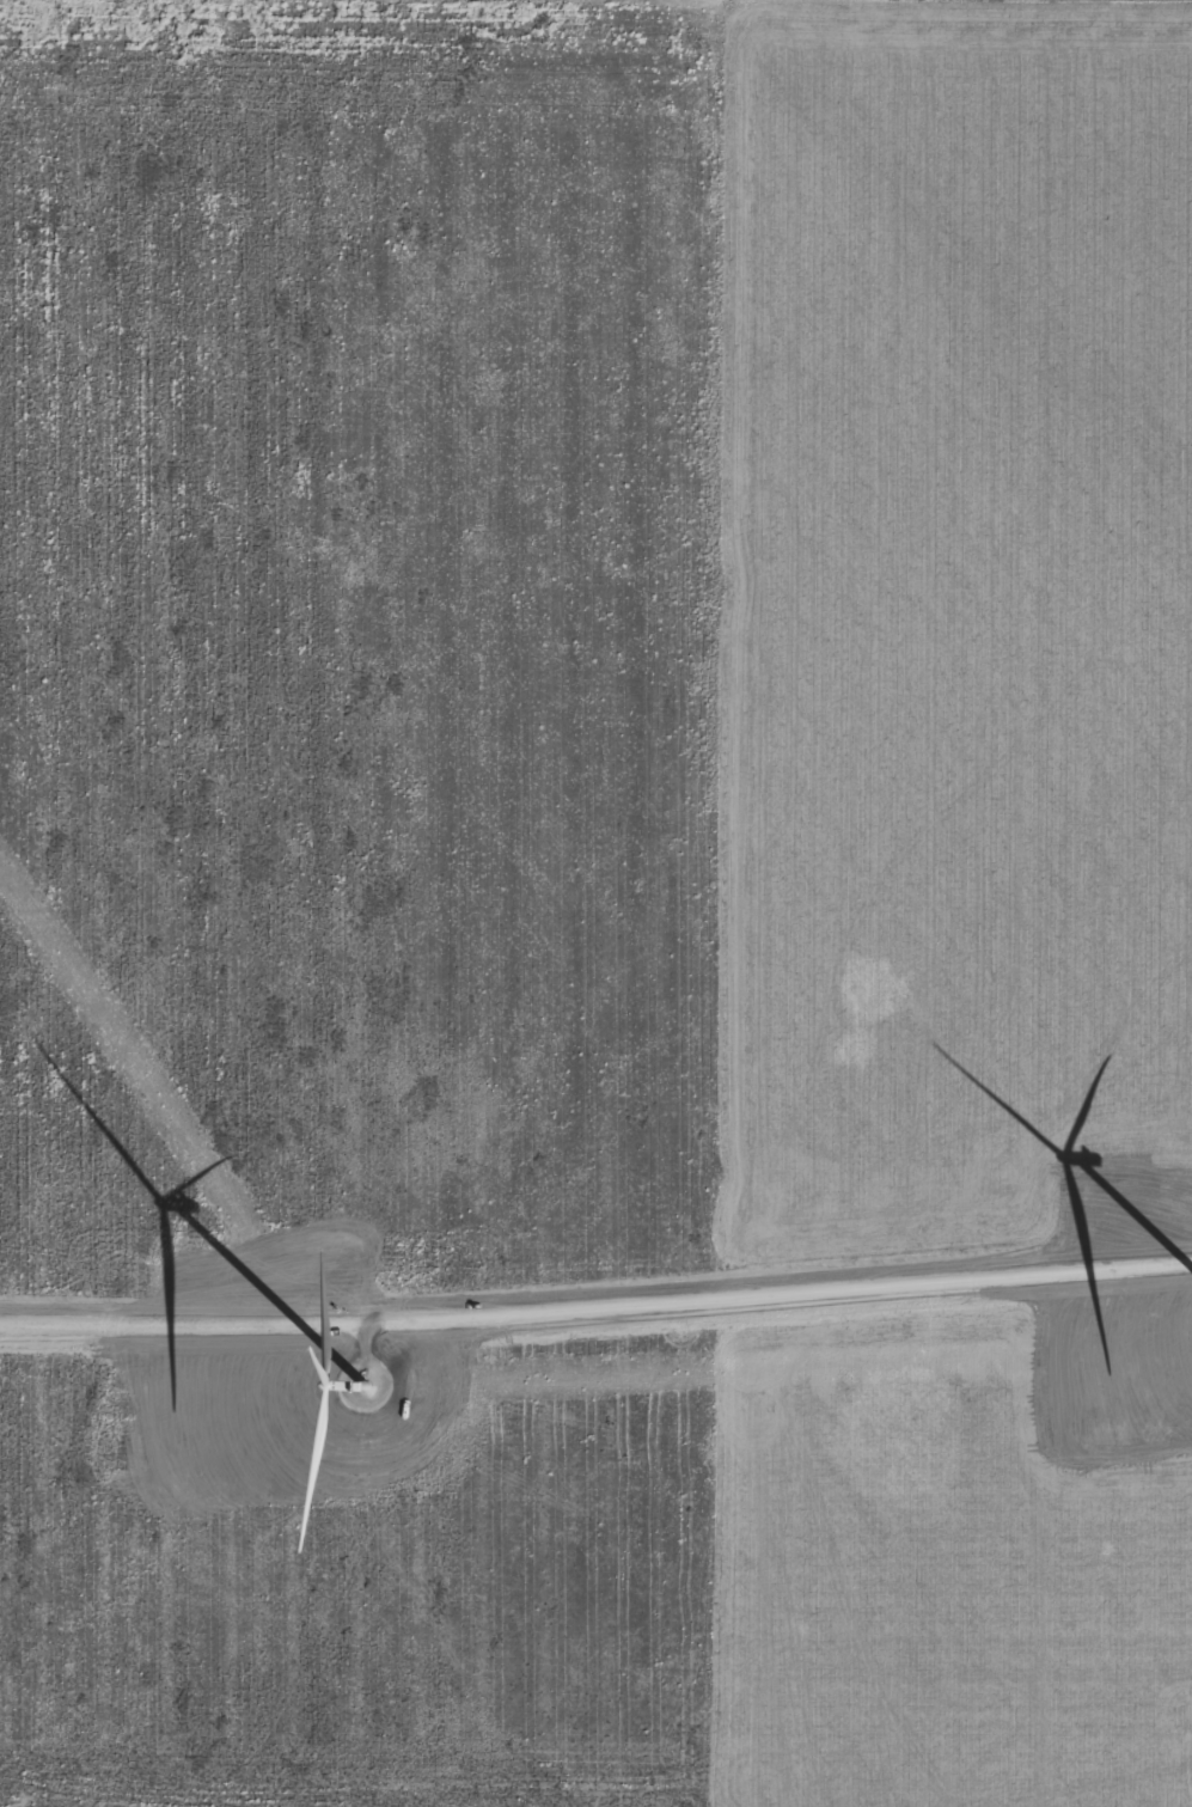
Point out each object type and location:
wind turbine: (355, 1394)

